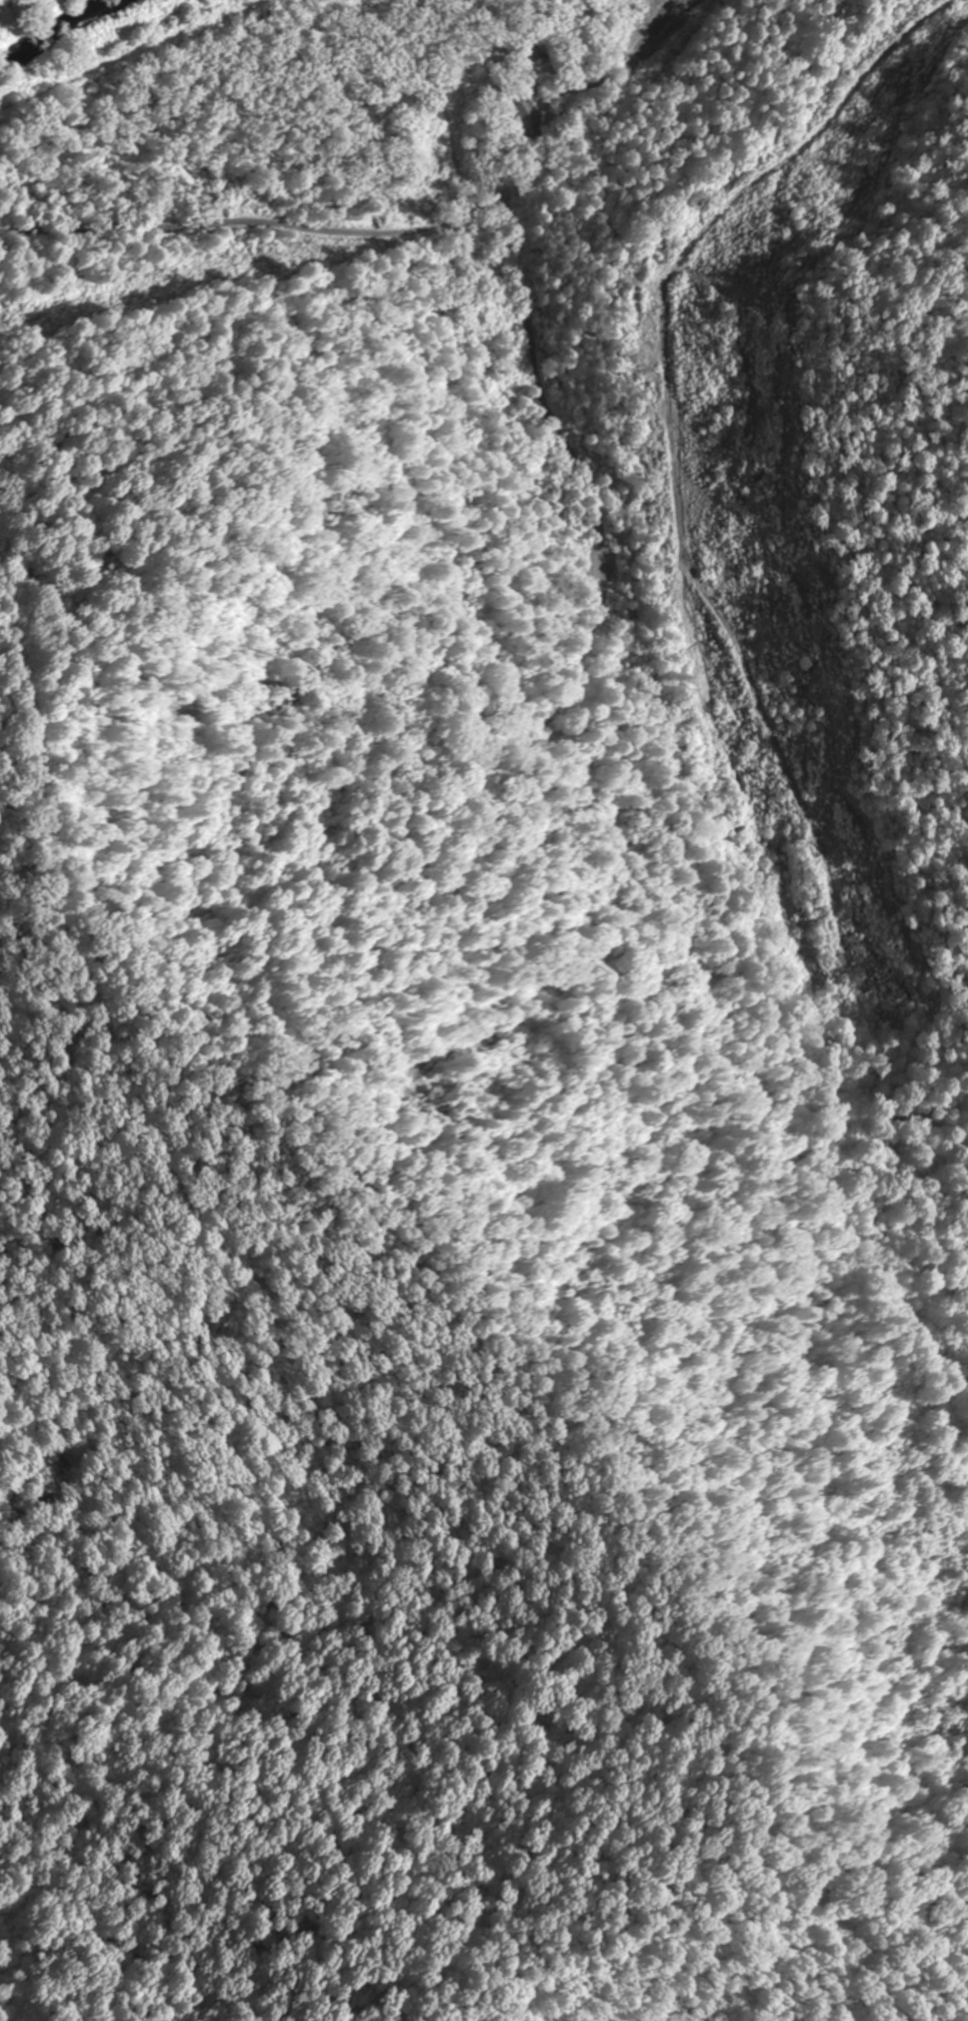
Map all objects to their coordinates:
railway: (176, 68)
building: (523, 113)
road: (387, 232)

